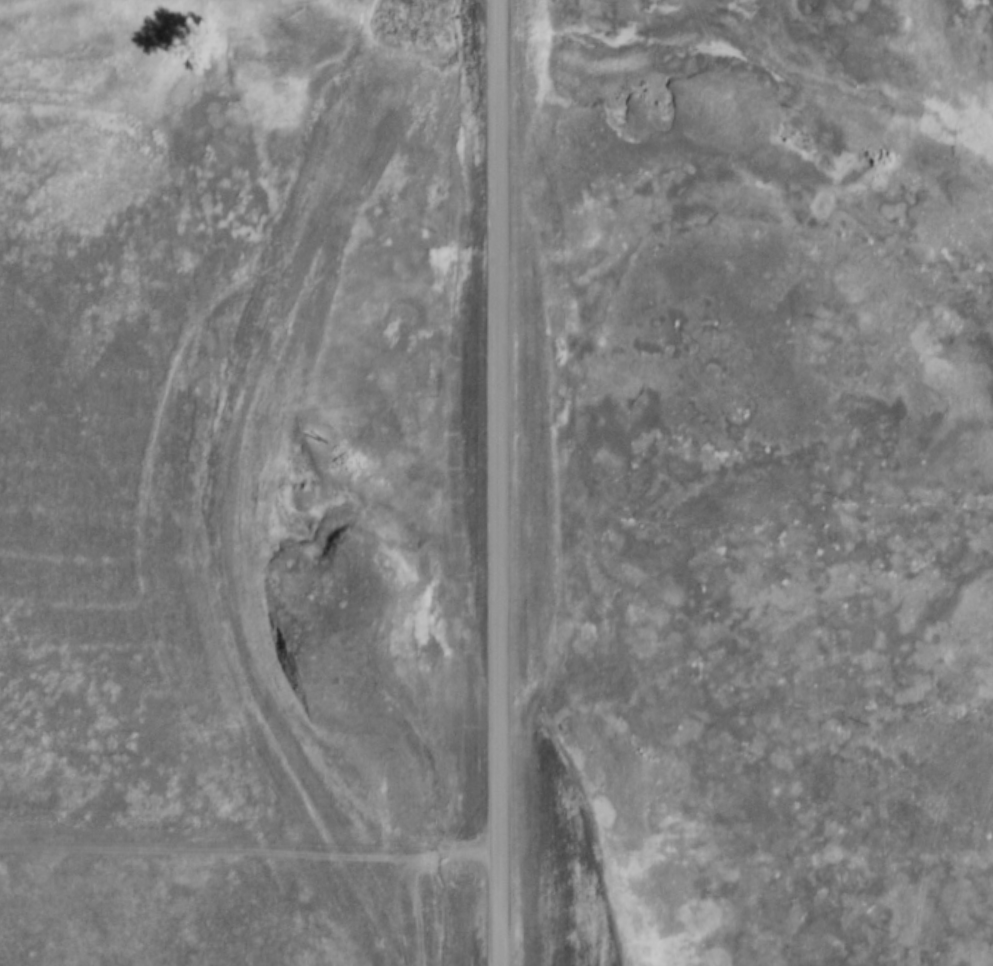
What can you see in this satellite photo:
road: (235, 487)

